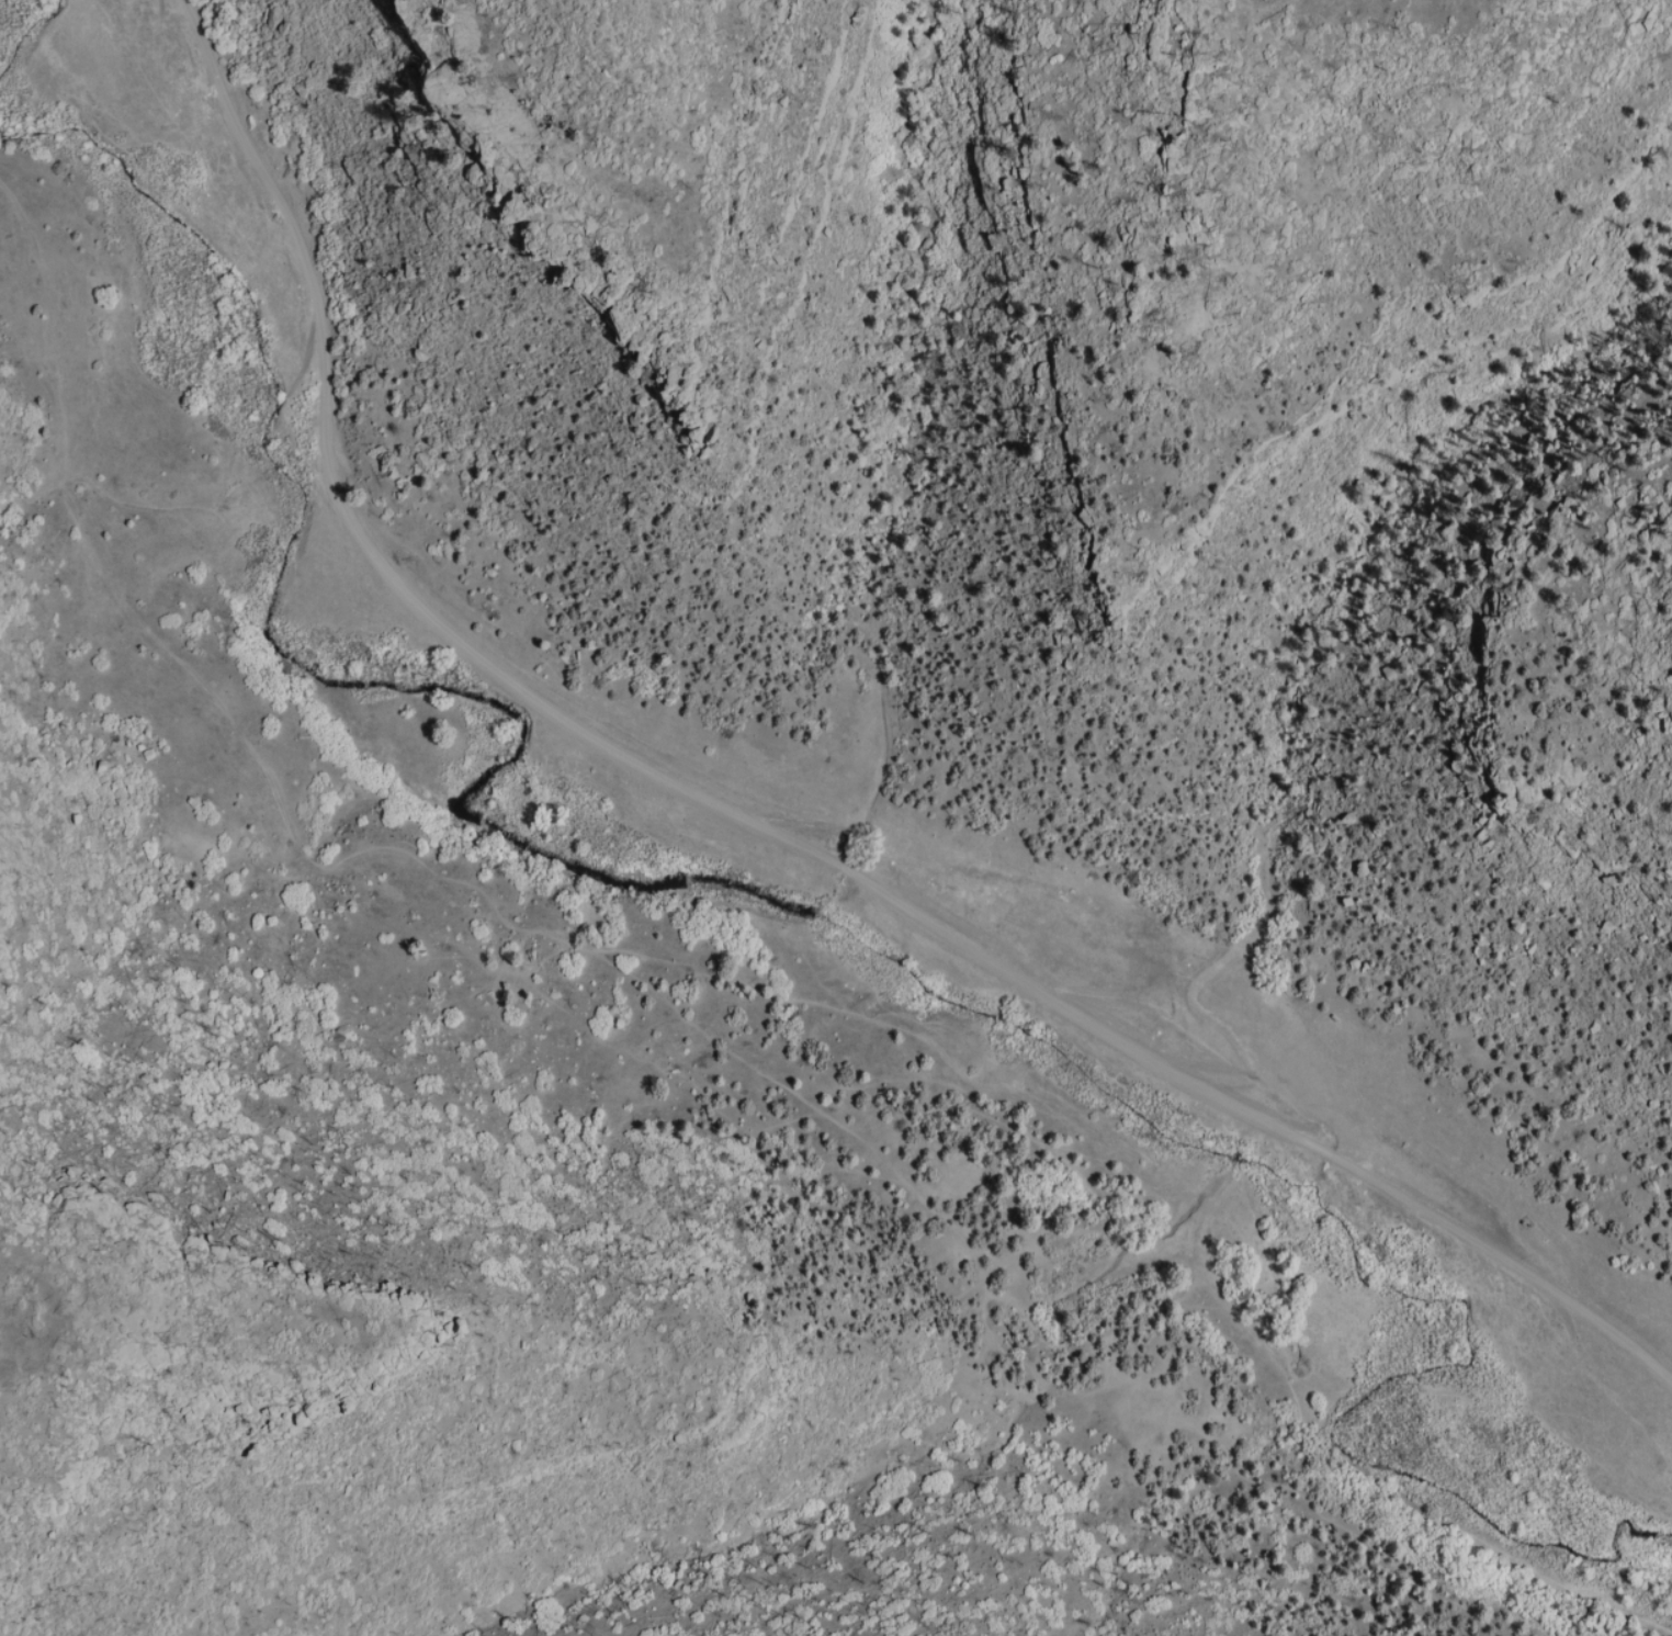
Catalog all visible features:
road: (760, 822)
road: (358, 854)
building: (1337, 1019)
building: (1065, 1161)
storage tank: (1527, 1225)
road: (1244, 1476)

